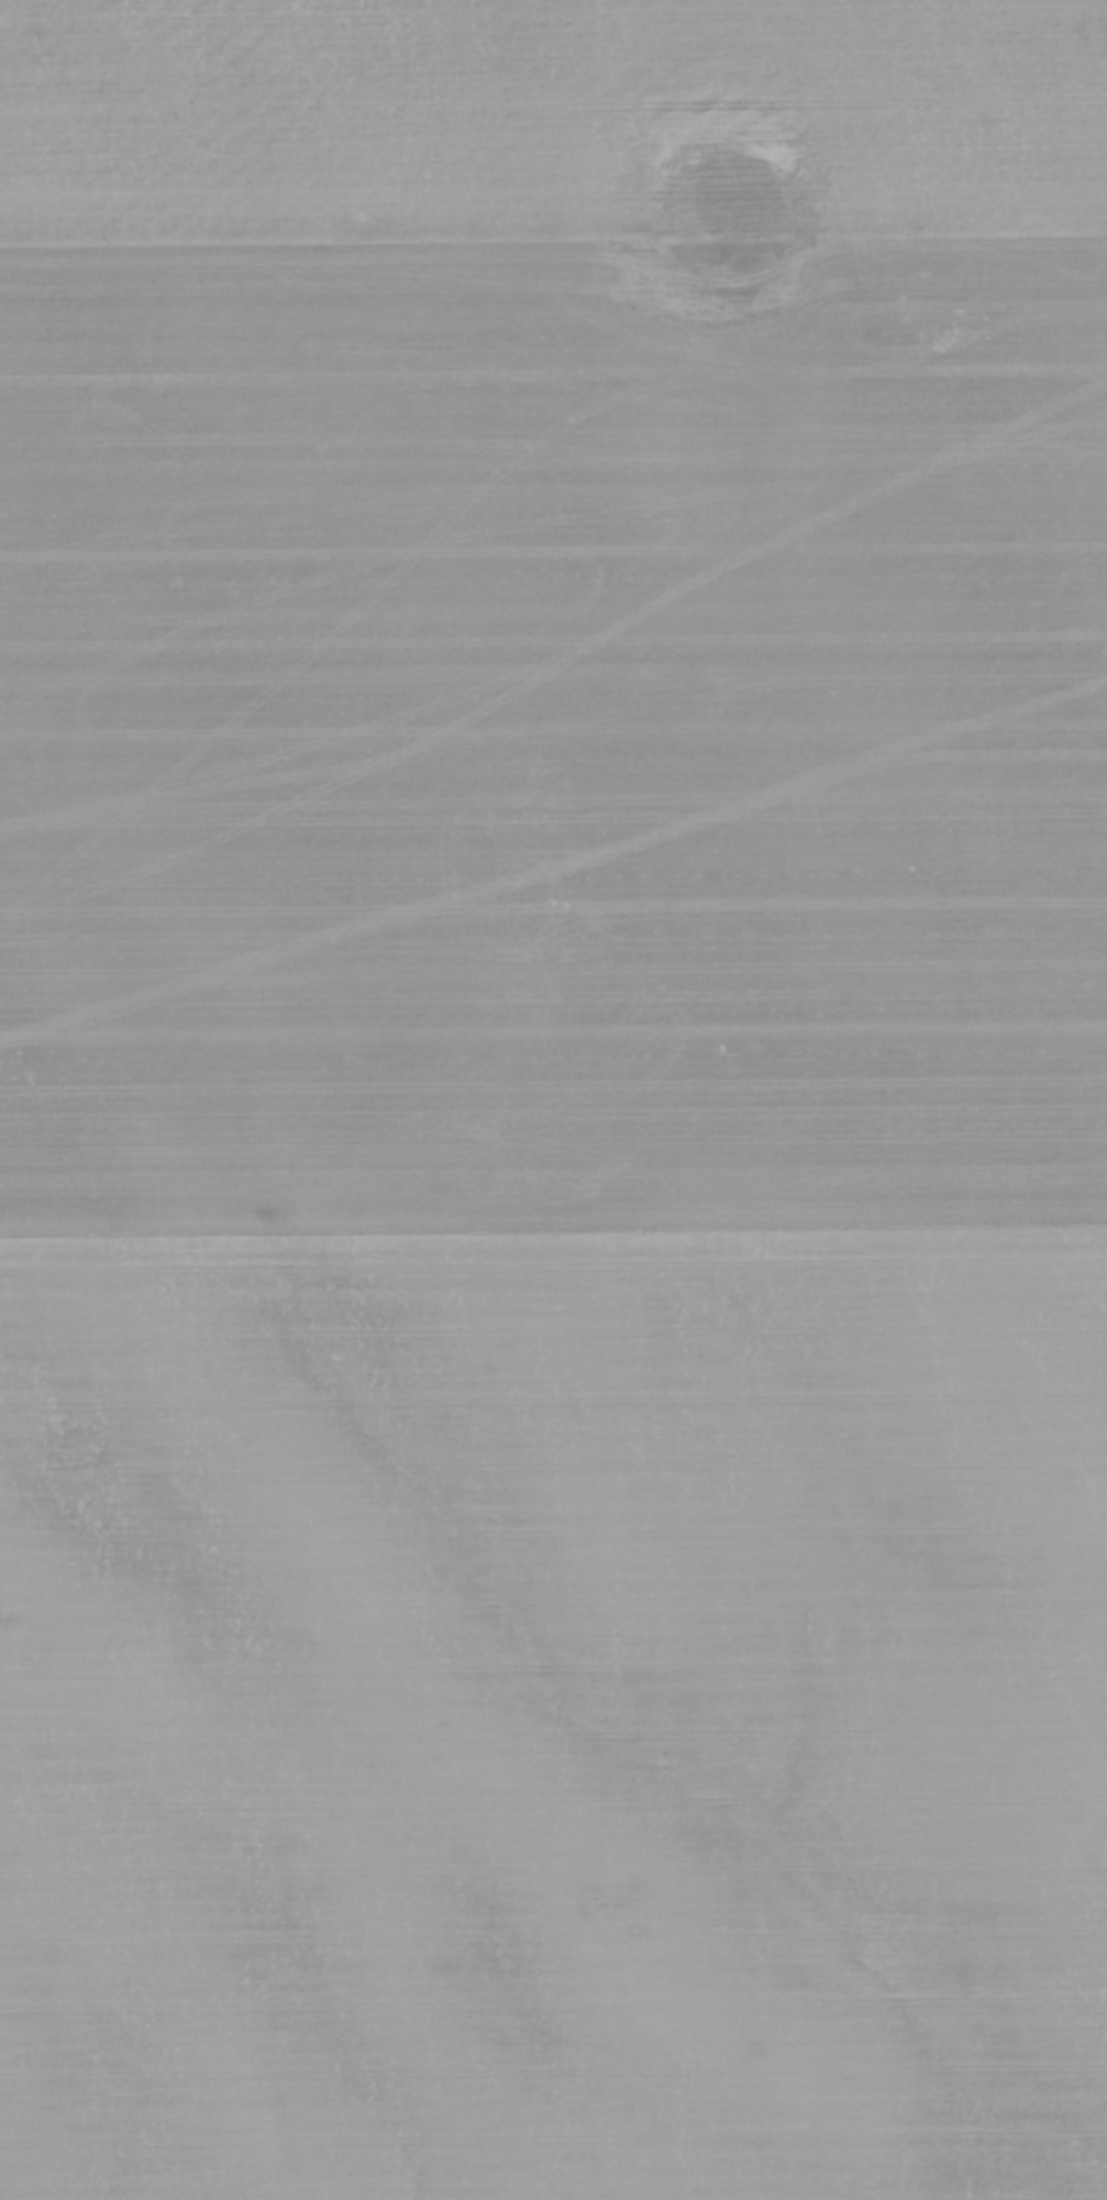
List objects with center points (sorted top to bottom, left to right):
crop: (553, 1099)

